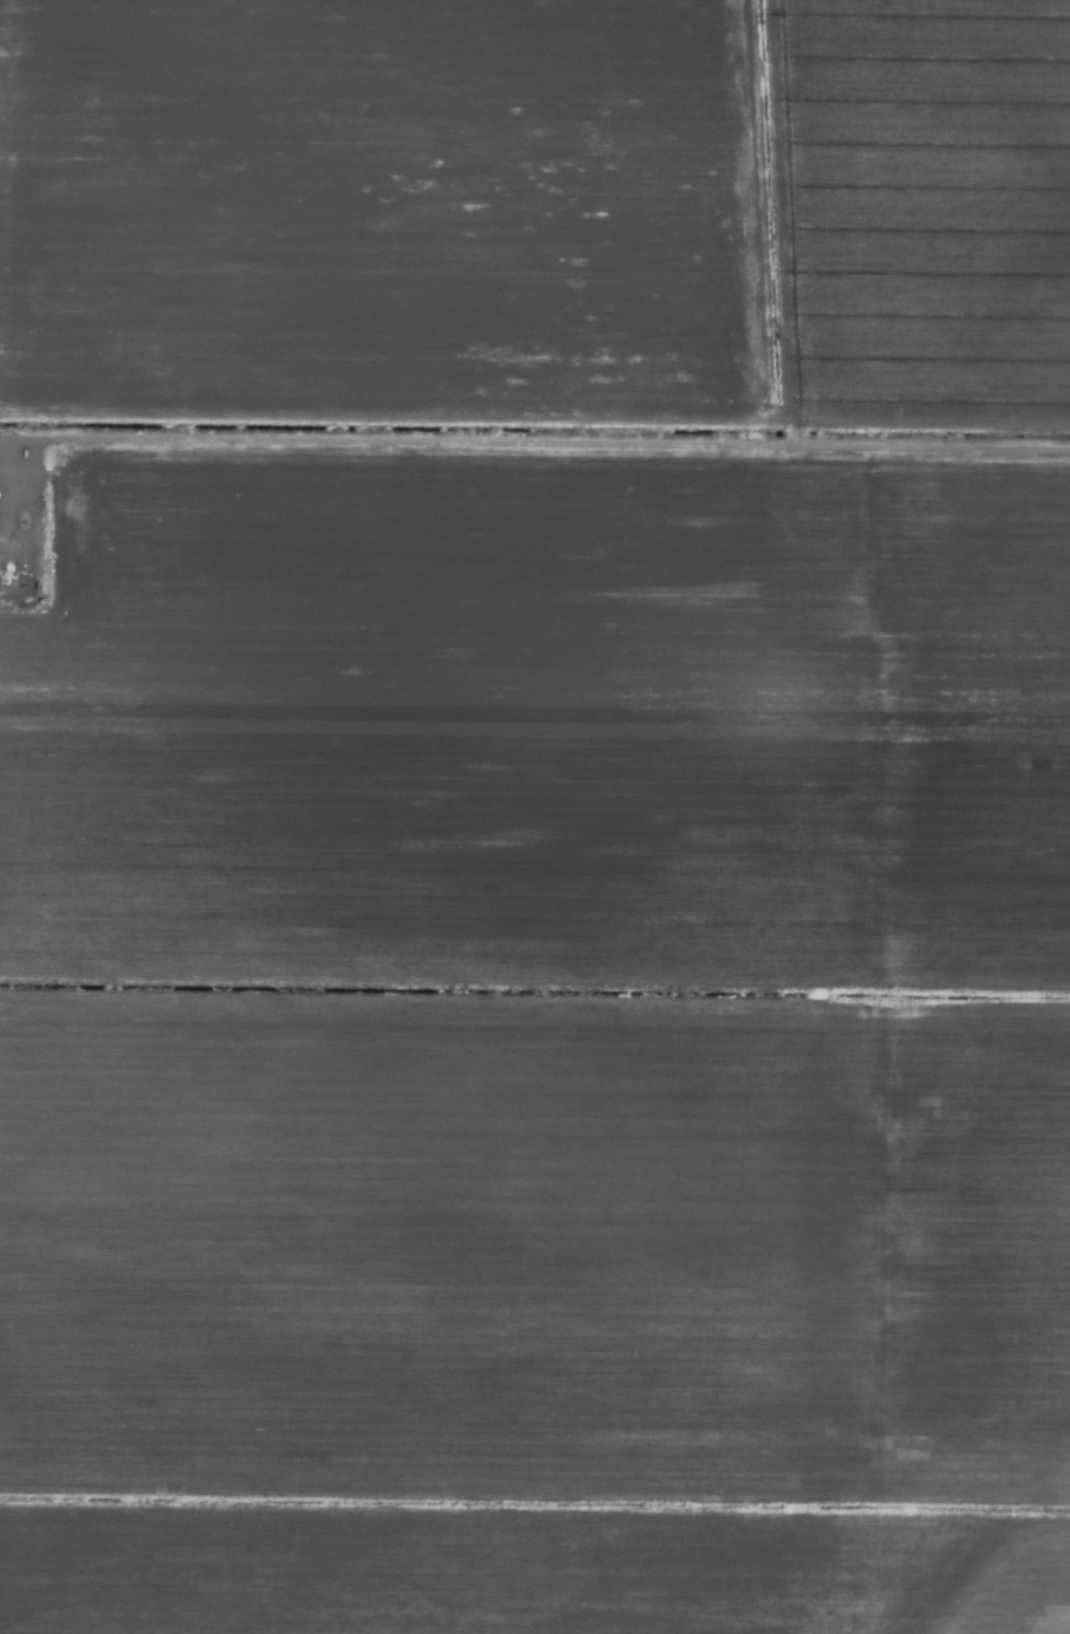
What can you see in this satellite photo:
crop: (535, 816)

